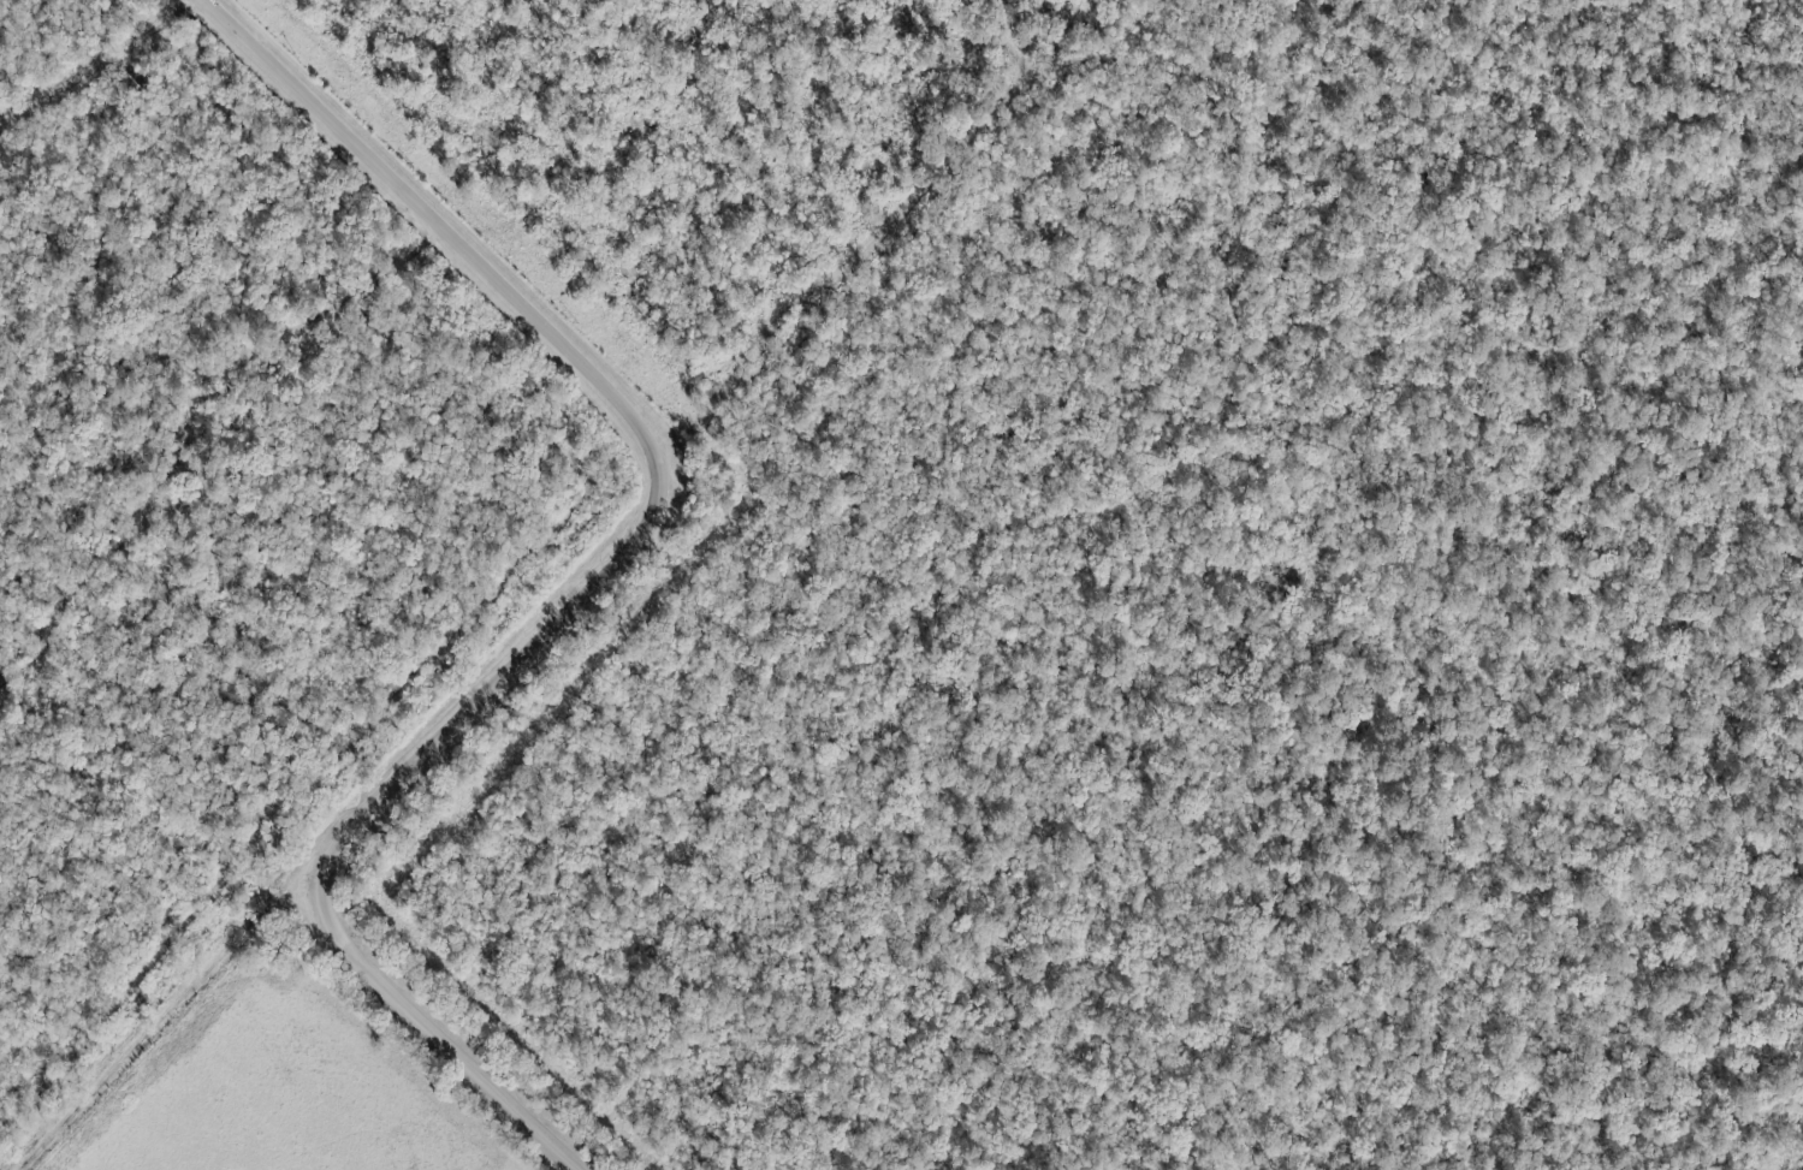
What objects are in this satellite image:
road: (603, 584)

